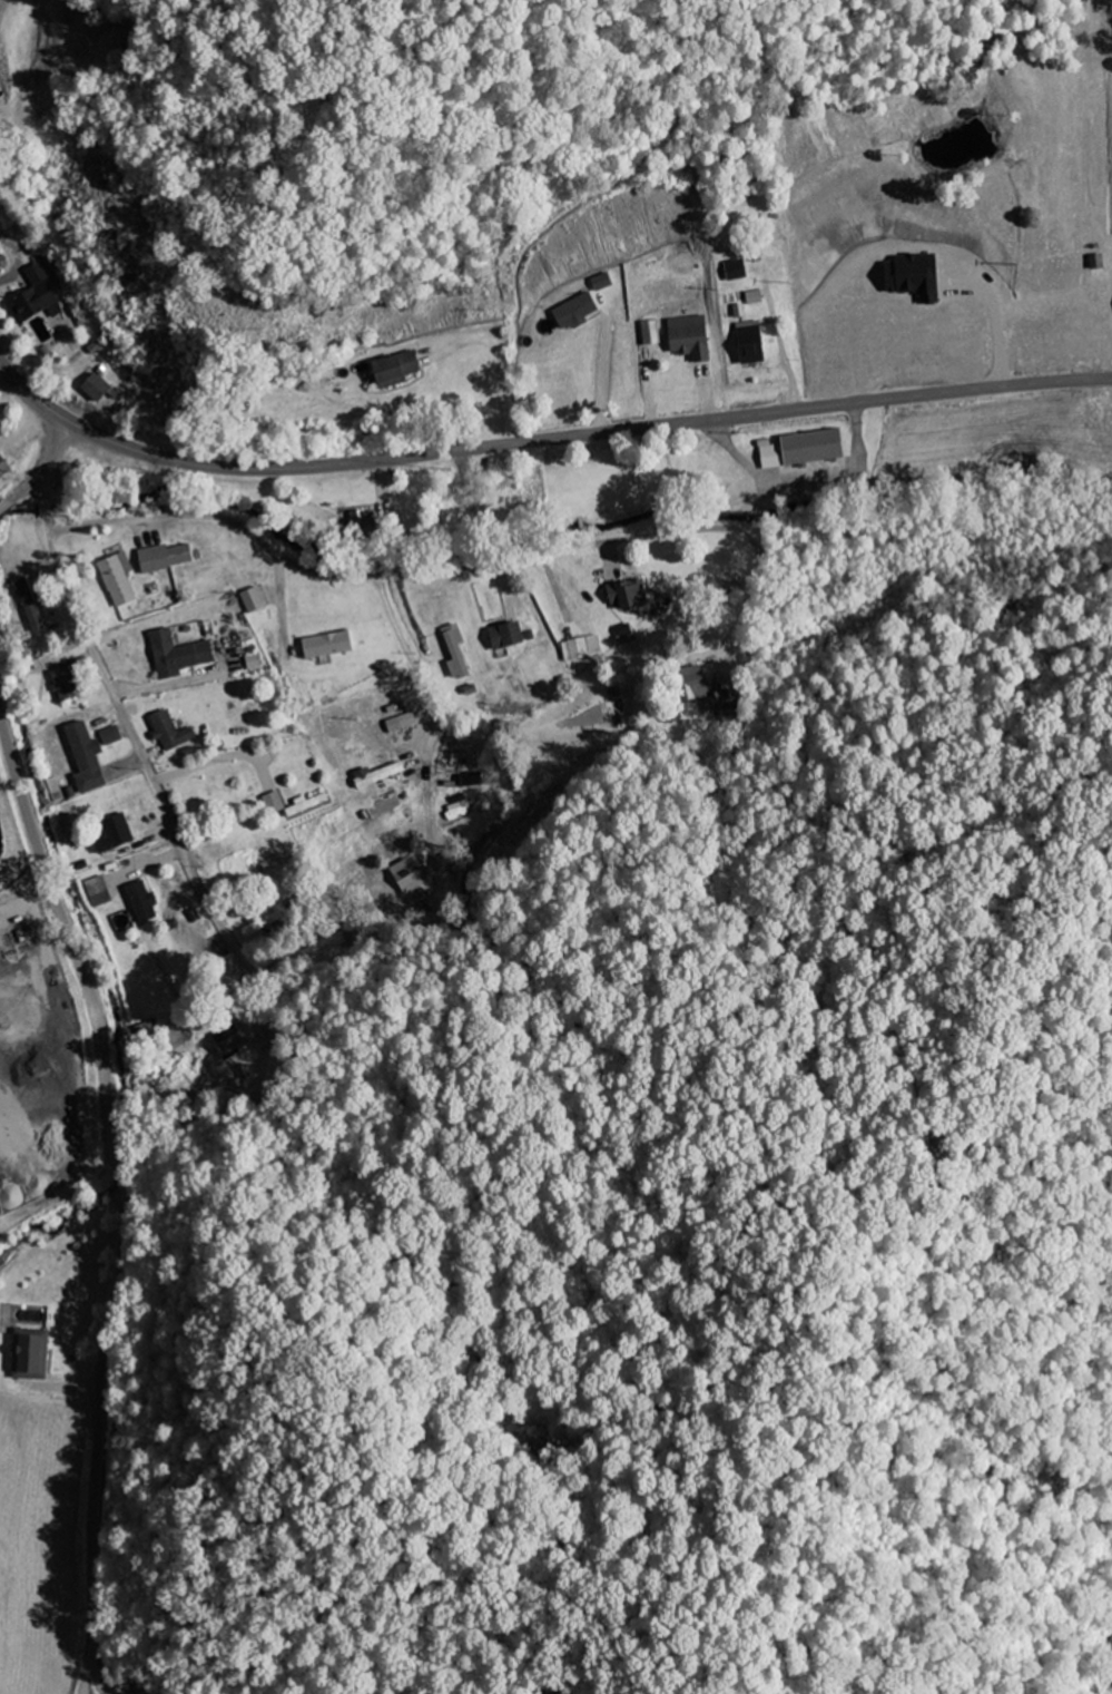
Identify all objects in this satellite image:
building: (734, 272)
building: (911, 277)
building: (32, 298)
building: (752, 298)
building: (738, 312)
building: (572, 313)
building: (649, 336)
building: (688, 343)
building: (748, 344)
building: (394, 370)
building: (94, 389)
road: (541, 440)
building: (801, 450)
road: (40, 468)
building: (3, 469)
building: (358, 522)
building: (161, 559)
road: (432, 571)
building: (116, 580)
building: (626, 596)
building: (250, 601)
building: (27, 606)
building: (623, 635)
building: (503, 637)
building: (325, 646)
building: (580, 649)
building: (454, 655)
building: (176, 656)
building: (253, 663)
building: (63, 685)
building: (691, 685)
building: (726, 701)
road: (121, 714)
building: (400, 724)
building: (168, 733)
building: (109, 737)
building: (83, 760)
building: (375, 776)
building: (273, 804)
building: (305, 805)
building: (112, 835)
building: (404, 878)
building: (96, 892)
building: (140, 903)
building: (228, 1041)
road: (121, 1201)
building: (28, 1354)

